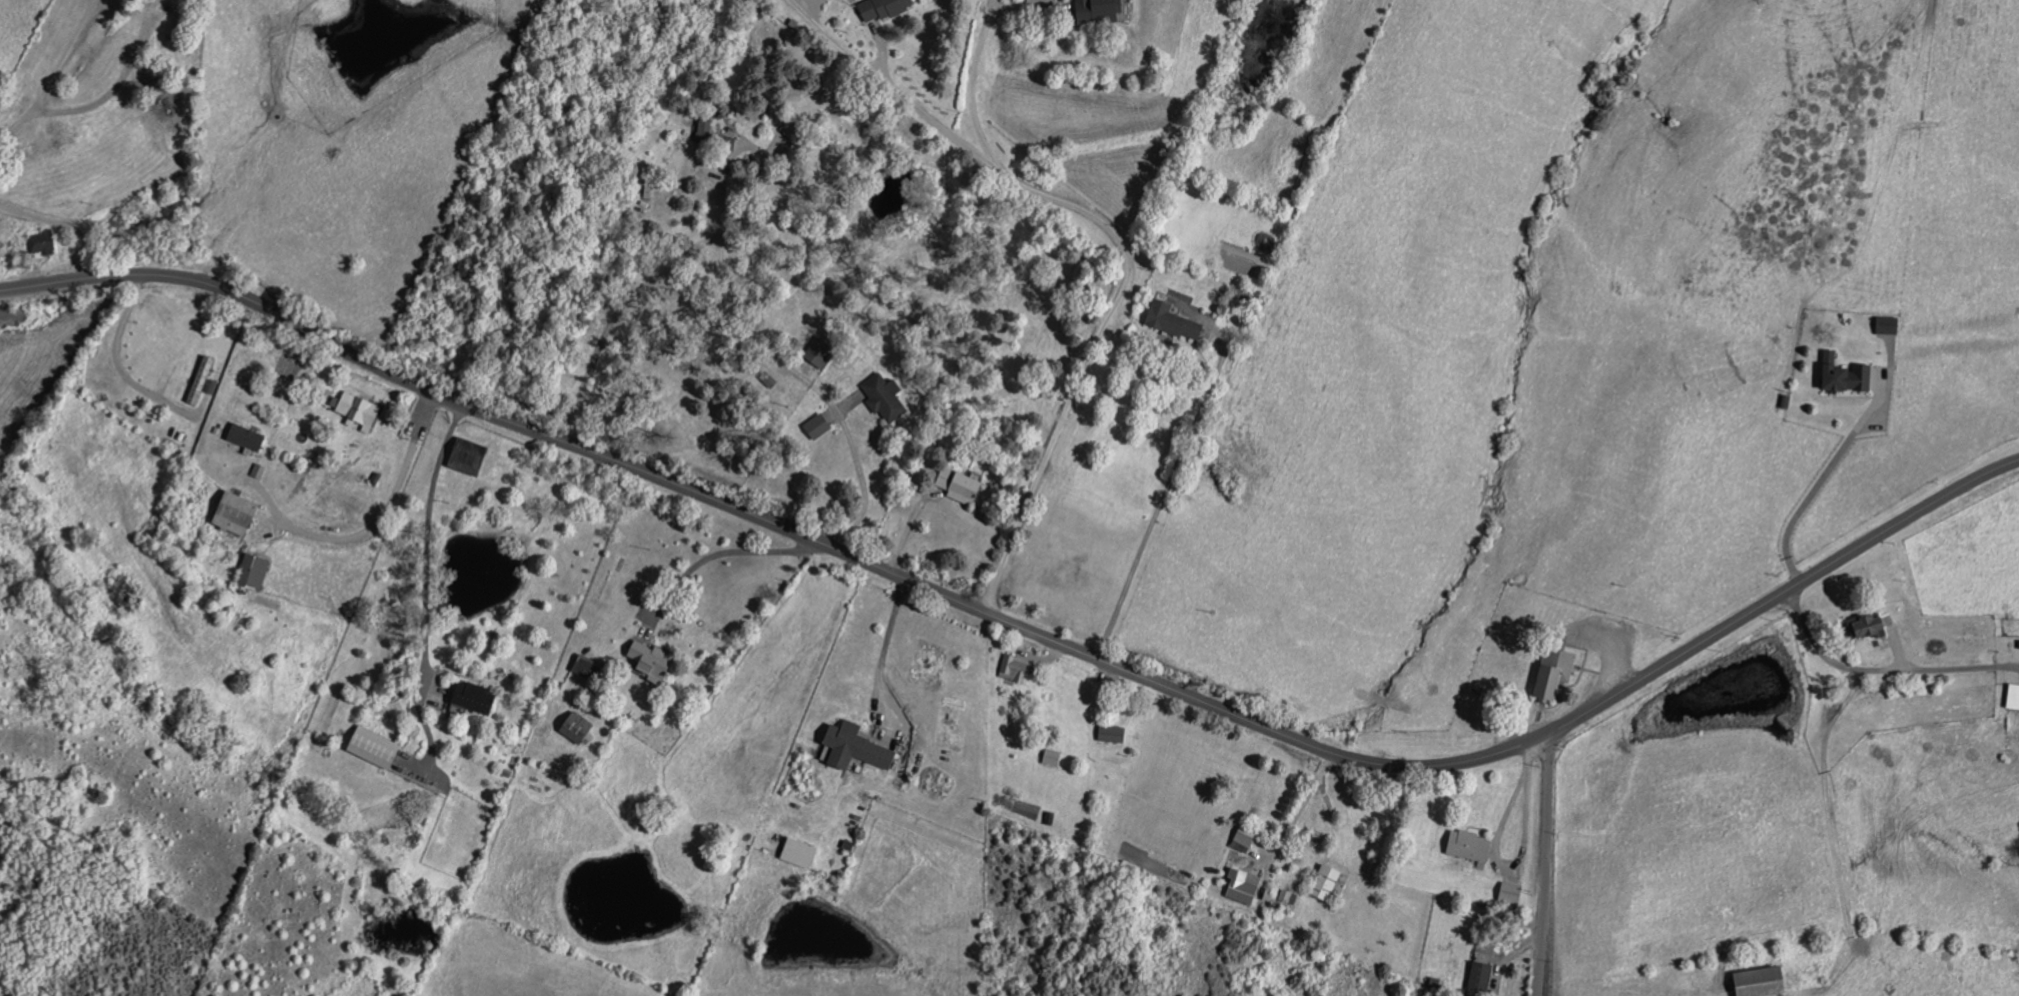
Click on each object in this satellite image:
building: (883, 9)
building: (1097, 11)
road: (909, 39)
road: (46, 45)
building: (168, 106)
building: (705, 132)
building: (725, 144)
building: (42, 243)
building: (26, 261)
road: (4, 267)
road: (1086, 279)
building: (1173, 322)
building: (1888, 326)
building: (819, 354)
road: (116, 363)
building: (1845, 375)
building: (201, 381)
building: (884, 398)
building: (357, 411)
building: (818, 427)
building: (246, 438)
building: (467, 457)
road: (1822, 479)
building: (960, 485)
road: (1165, 487)
building: (234, 514)
road: (728, 553)
building: (253, 572)
building: (124, 595)
building: (1867, 627)
road: (1025, 630)
road: (880, 651)
building: (583, 668)
road: (1883, 668)
building: (1015, 669)
building: (1553, 673)
building: (2014, 695)
building: (472, 699)
building: (576, 728)
building: (1112, 735)
building: (373, 748)
building: (855, 748)
building: (1052, 758)
road: (1298, 804)
building: (1244, 841)
building: (1469, 846)
building: (799, 854)
road: (1548, 865)
building: (1326, 884)
building: (1342, 884)
building: (1243, 887)
building: (1511, 894)
building: (1289, 898)
building: (1480, 976)
building: (1760, 983)

